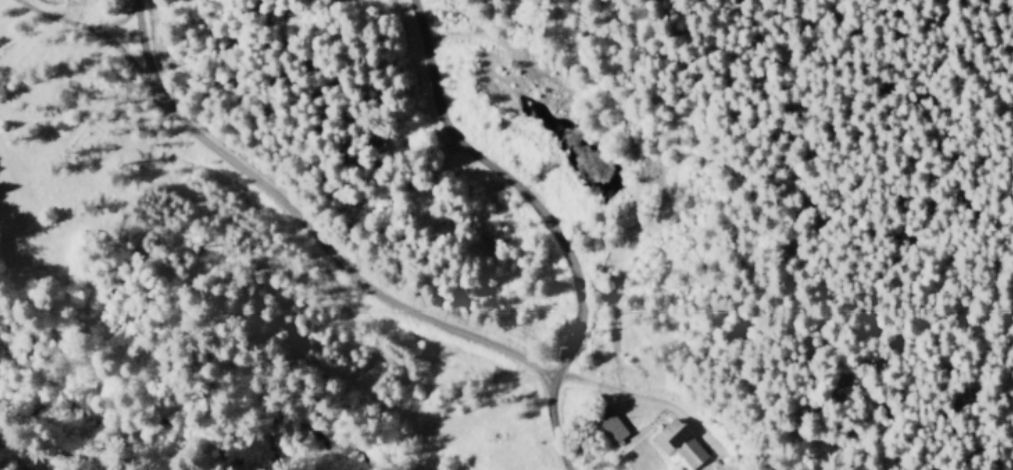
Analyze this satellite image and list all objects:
building: (610, 423)
building: (679, 444)
road: (8, 461)

